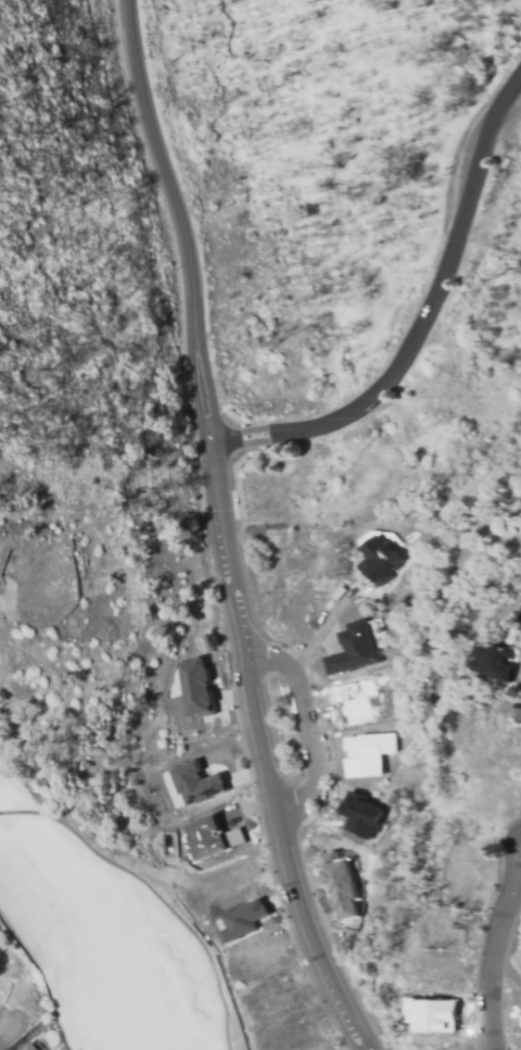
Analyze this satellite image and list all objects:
road: (432, 299)
road: (232, 439)
road: (223, 530)
building: (380, 558)
road: (320, 628)
building: (353, 648)
building: (499, 660)
building: (194, 686)
road: (300, 733)
building: (367, 753)
building: (193, 782)
building: (359, 814)
building: (211, 837)
road: (511, 850)
road: (520, 874)
building: (338, 882)
building: (241, 917)
park: (92, 939)
road: (493, 960)
building: (435, 1015)
building: (28, 1047)

